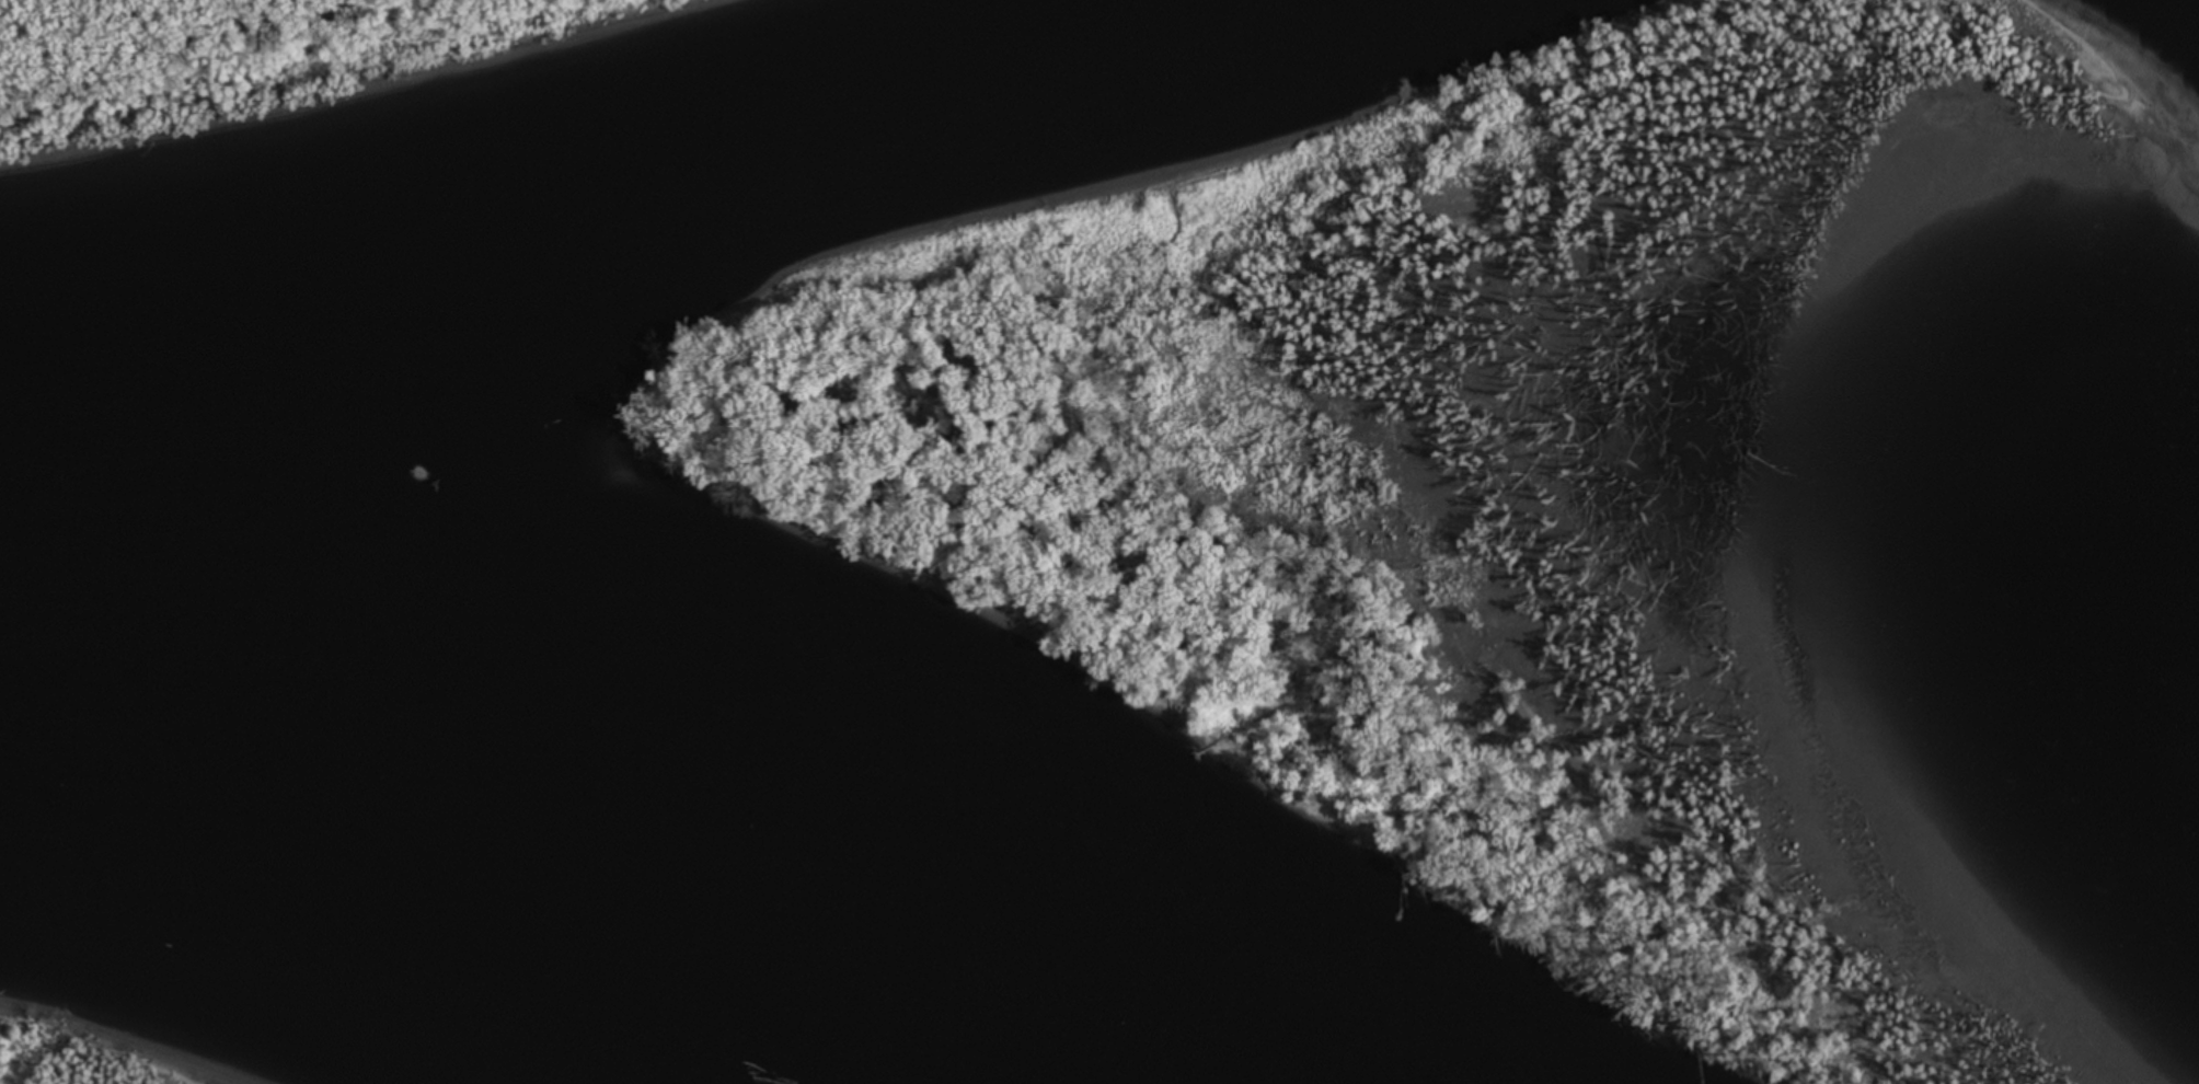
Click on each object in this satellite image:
river: (414, 207)

